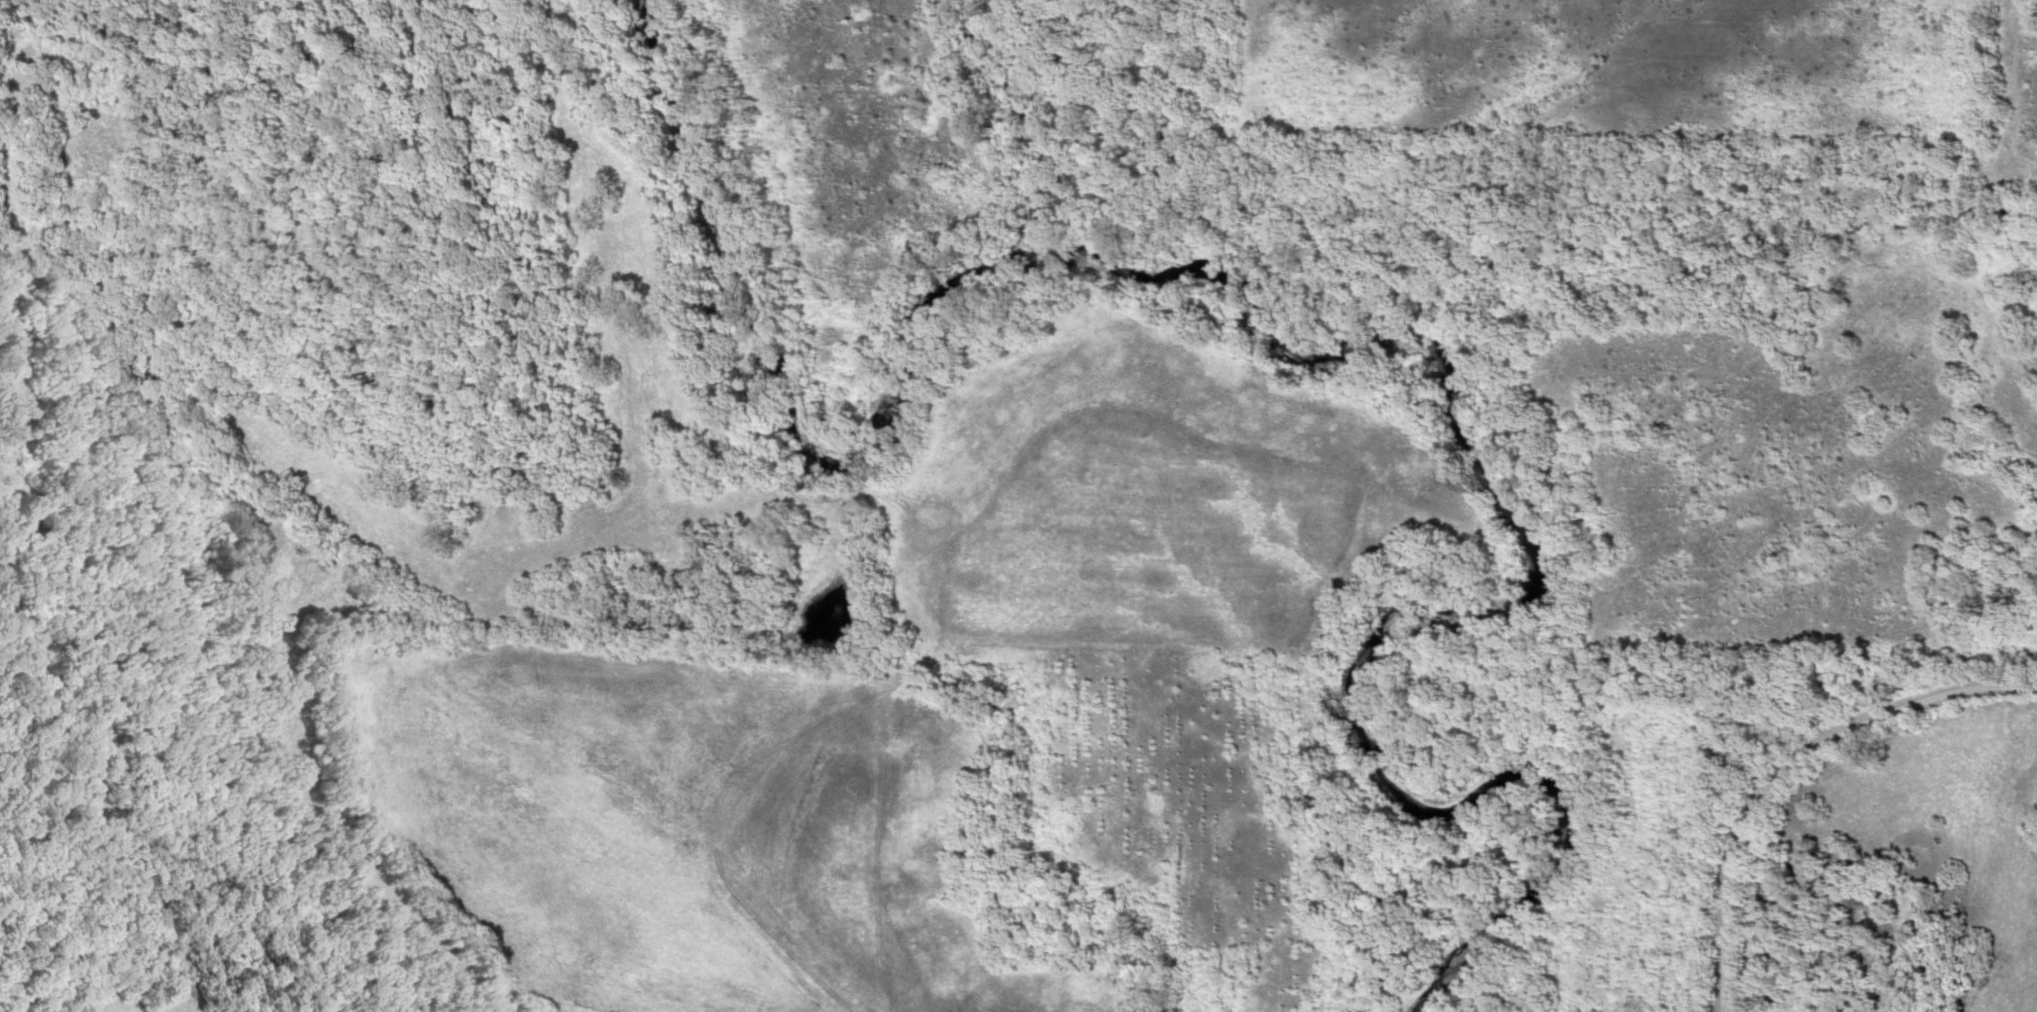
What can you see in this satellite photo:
road: (1791, 766)

